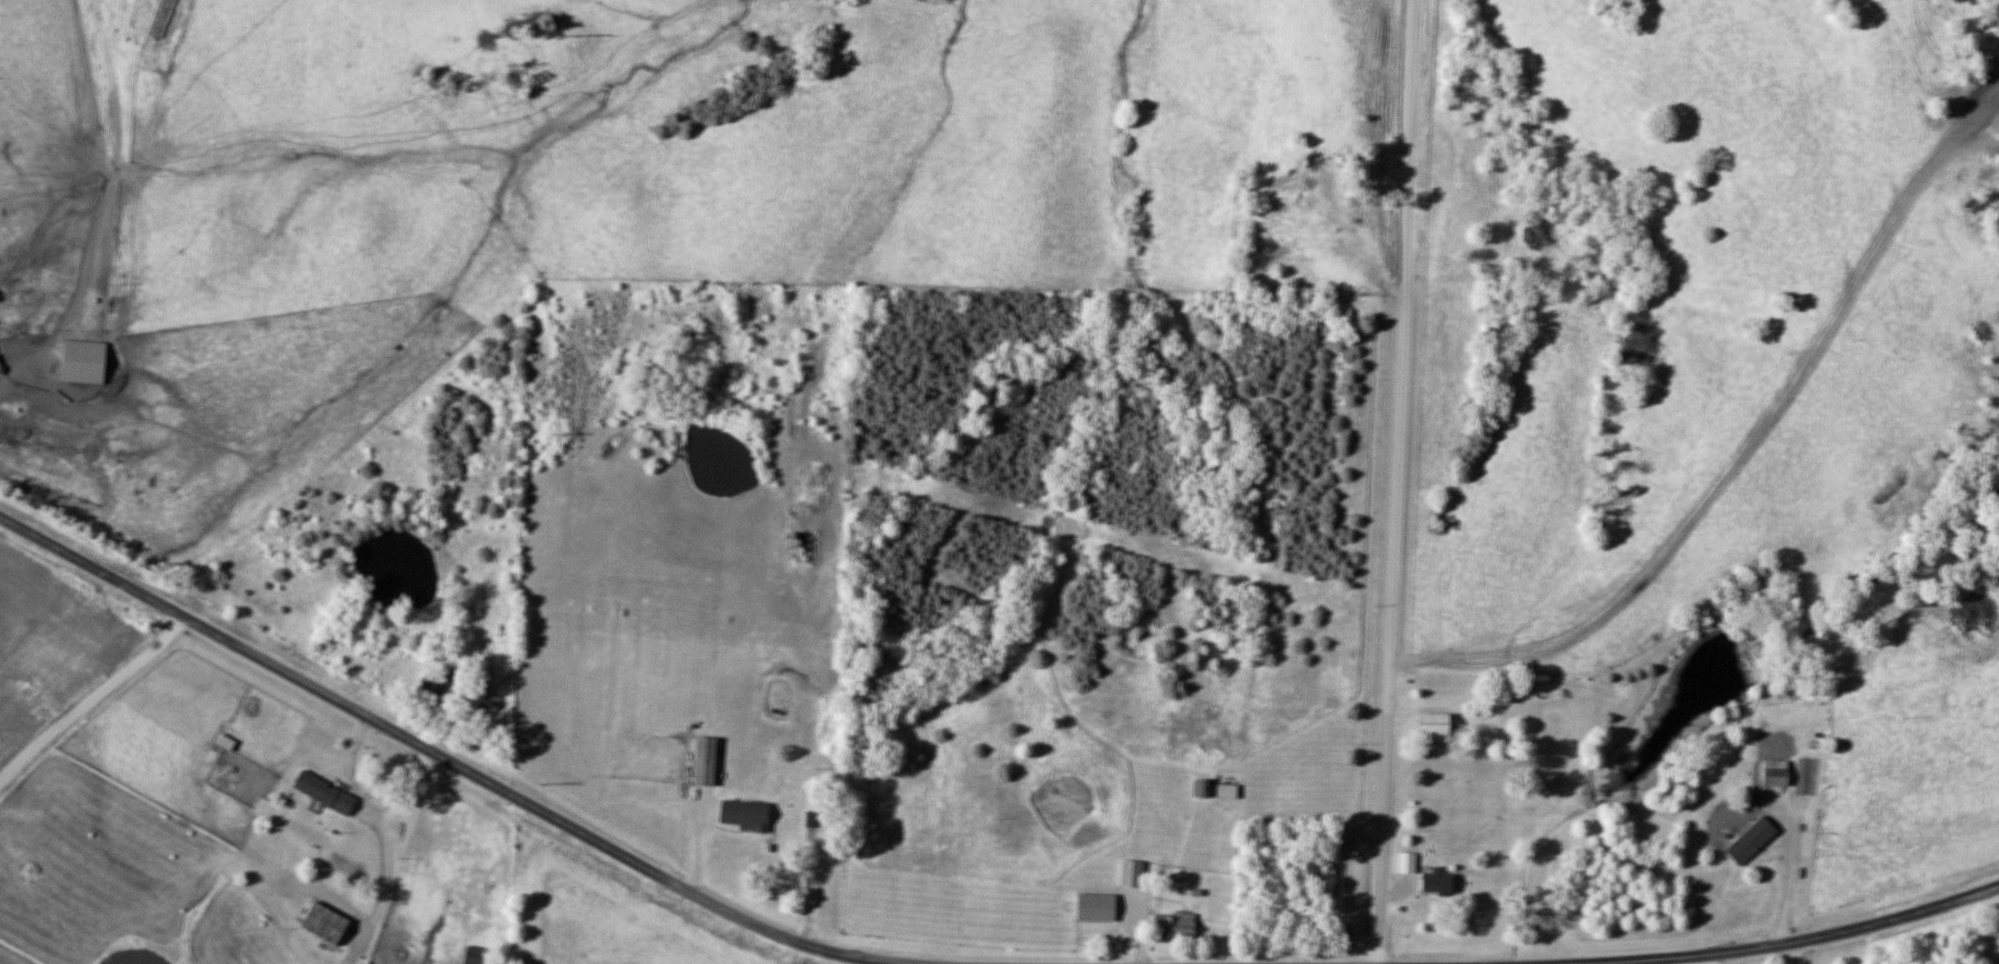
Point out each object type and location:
building: (85, 361)
road: (1396, 481)
building: (507, 631)
building: (439, 678)
road: (91, 701)
building: (487, 702)
building: (1437, 727)
building: (706, 761)
road: (460, 769)
building: (1777, 773)
building: (1204, 788)
building: (1228, 791)
building: (326, 793)
building: (746, 814)
building: (813, 819)
building: (1724, 820)
building: (1407, 863)
building: (783, 870)
building: (1439, 881)
building: (403, 897)
building: (1097, 907)
building: (327, 924)
building: (1182, 926)
road: (1813, 939)
building: (480, 955)

